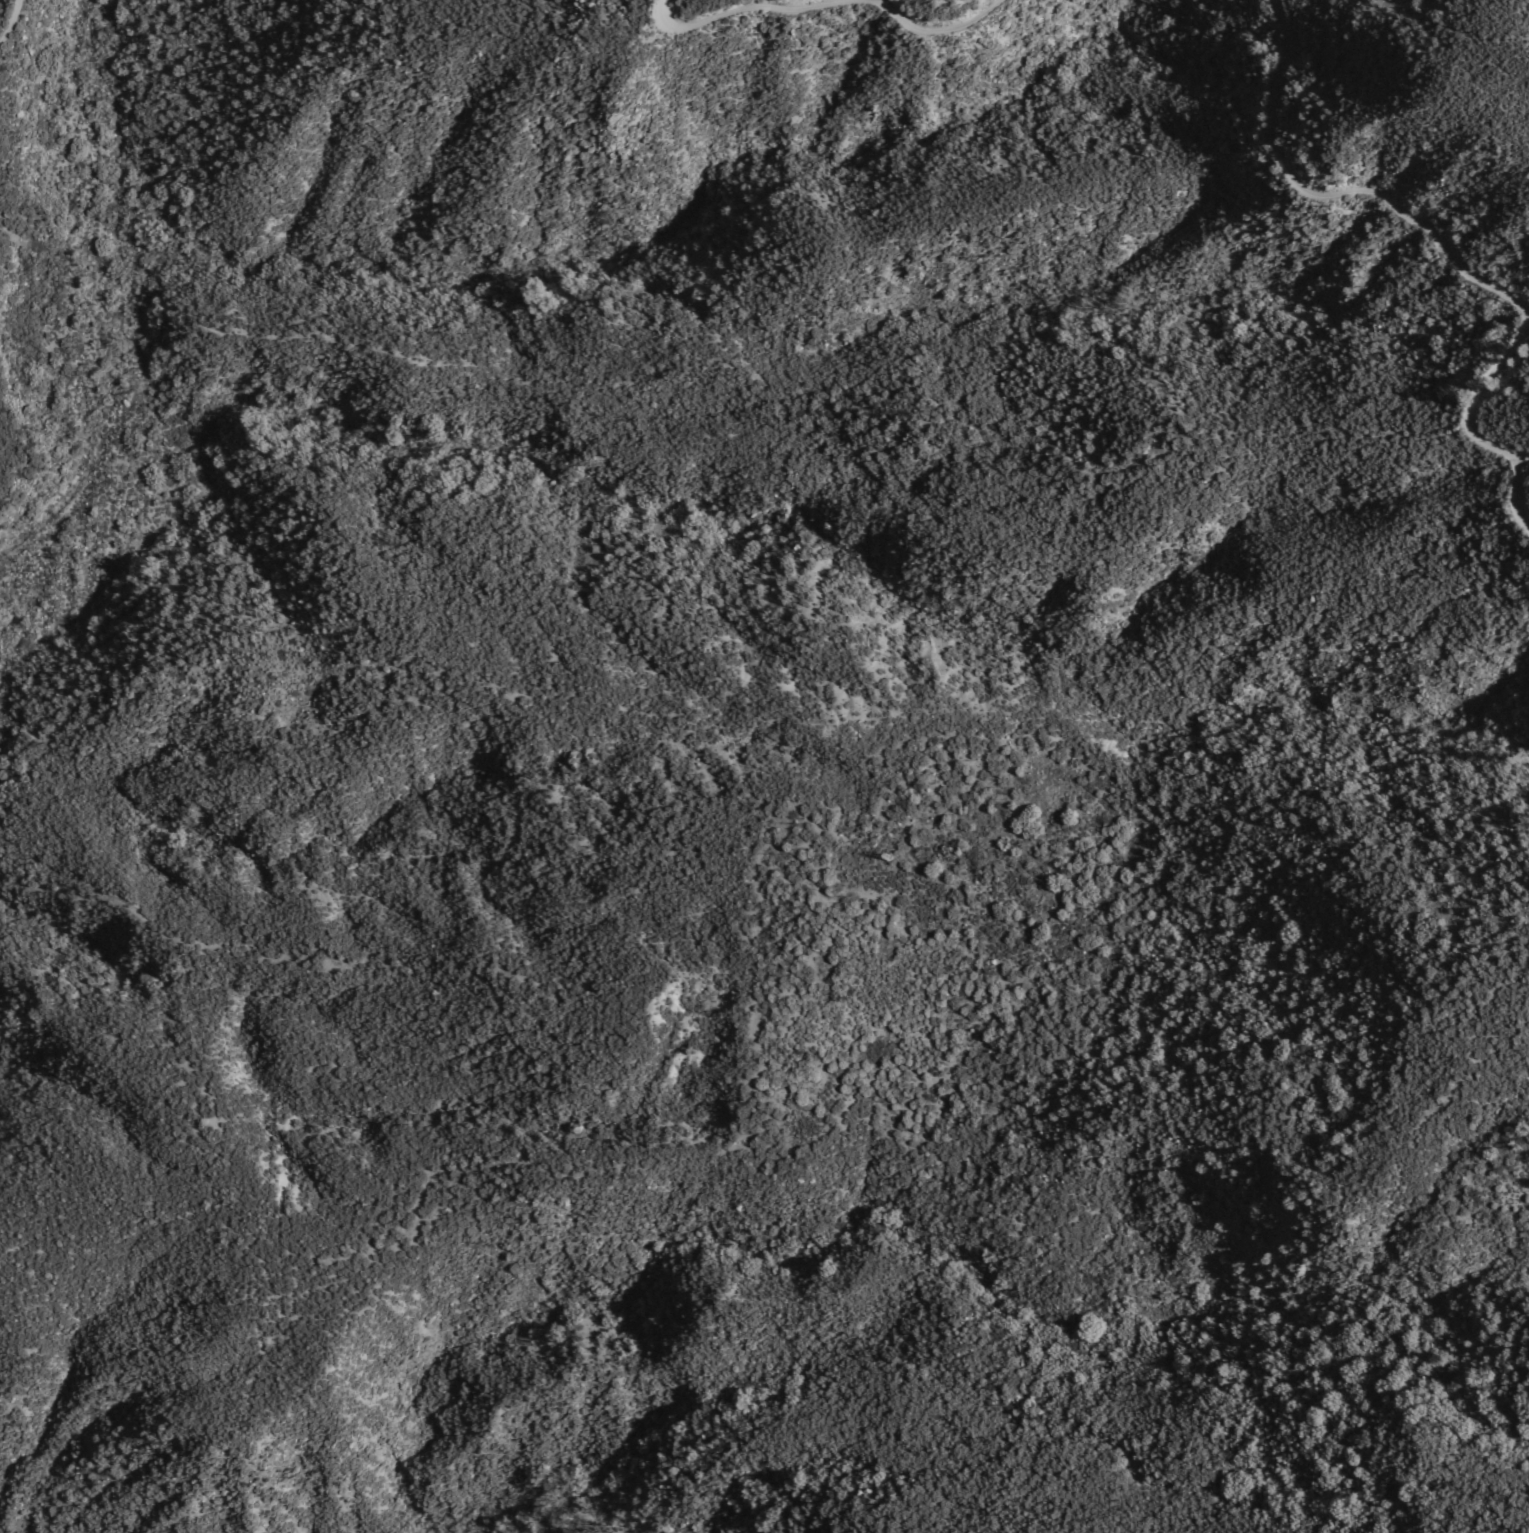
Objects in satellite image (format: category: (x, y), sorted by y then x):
road: (828, 2)
road: (13, 21)
road: (1444, 235)
road: (180, 400)

